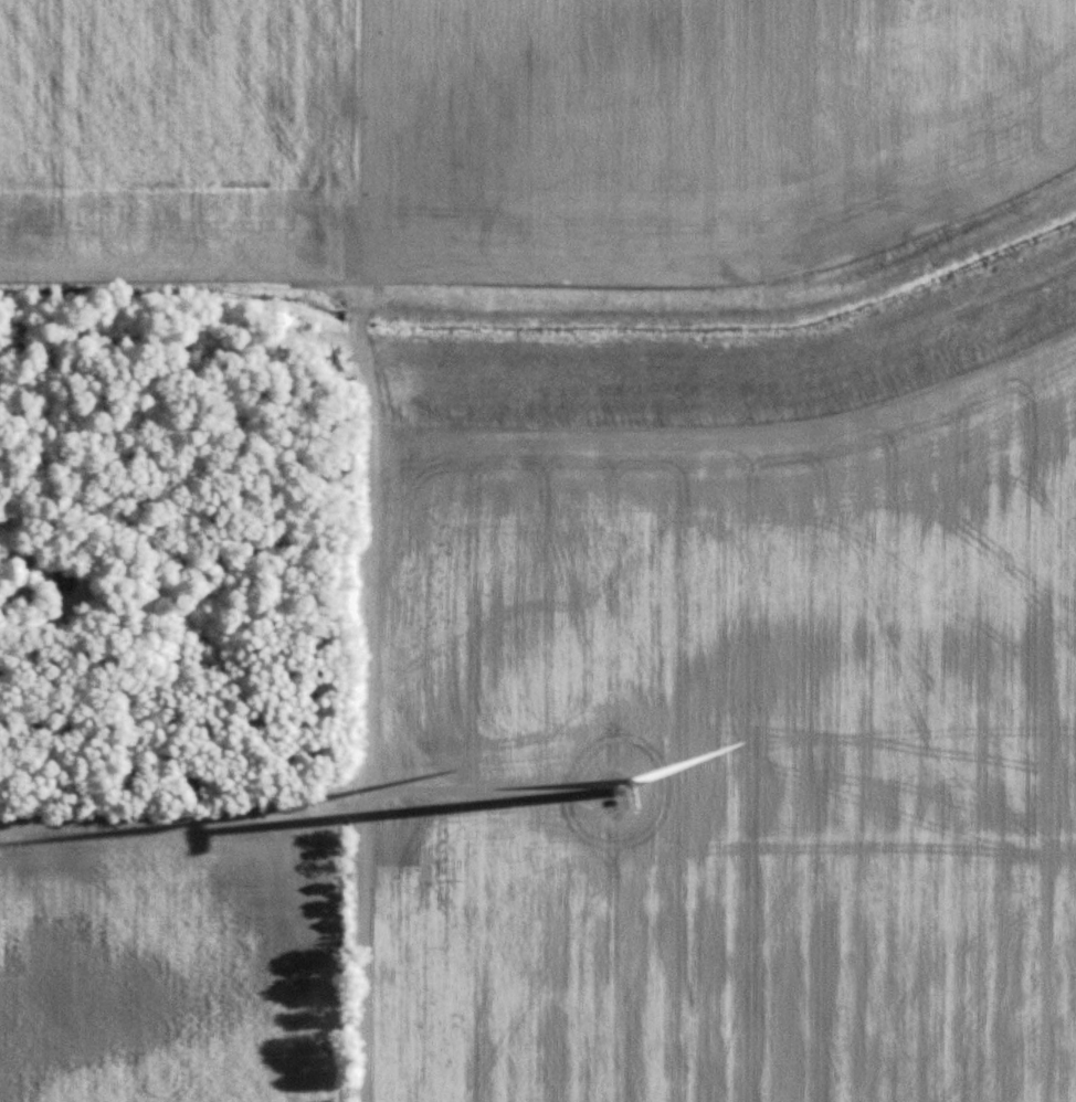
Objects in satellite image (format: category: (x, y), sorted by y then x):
wind turbine: (551, 795)
road: (347, 893)

